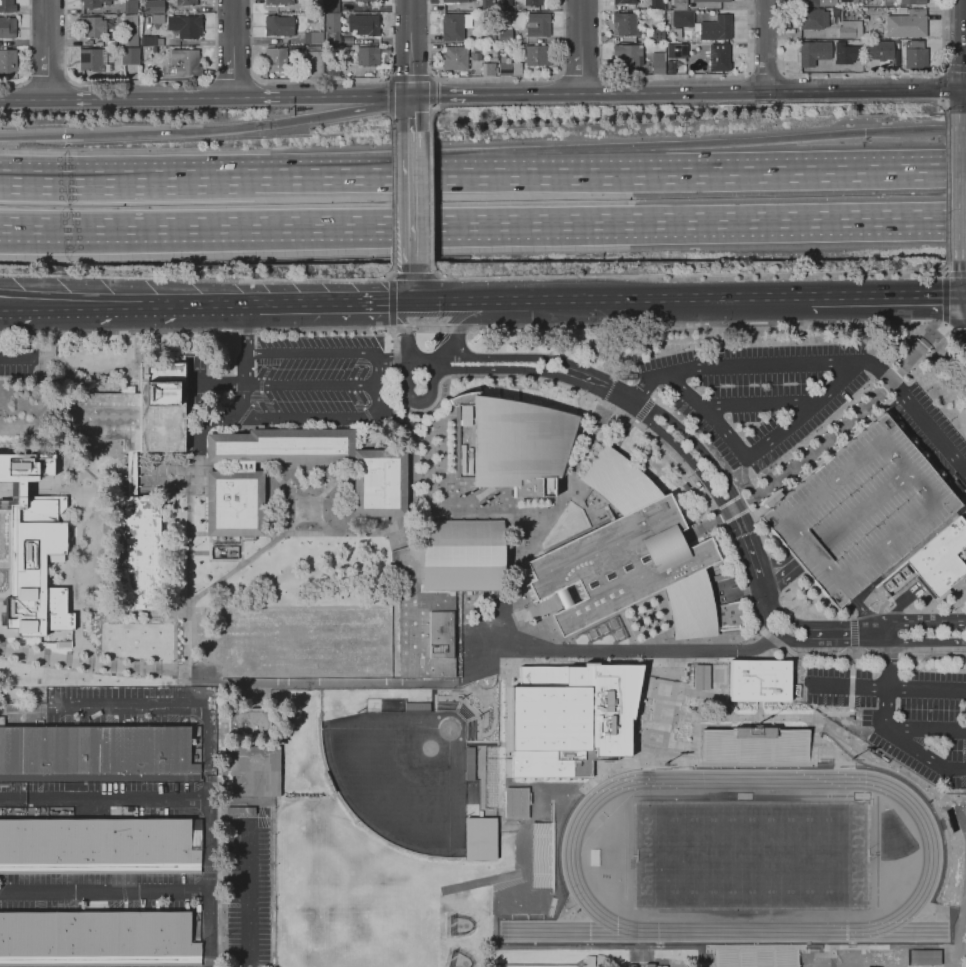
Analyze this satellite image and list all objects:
building: (368, 0)
building: (364, 1)
building: (455, 1)
building: (711, 1)
building: (186, 2)
building: (279, 2)
building: (534, 2)
building: (624, 2)
building: (856, 2)
building: (913, 2)
building: (91, 3)
building: (808, 3)
building: (679, 4)
building: (487, 5)
building: (505, 5)
building: (657, 5)
building: (7, 6)
building: (131, 6)
building: (153, 6)
building: (332, 6)
building: (873, 12)
building: (157, 18)
building: (311, 18)
building: (865, 18)
building: (813, 19)
building: (364, 24)
building: (538, 24)
building: (625, 24)
building: (907, 24)
building: (186, 25)
building: (279, 25)
building: (705, 25)
building: (92, 26)
building: (455, 26)
building: (7, 27)
building: (333, 27)
building: (131, 29)
building: (850, 29)
building: (677, 33)
building: (658, 35)
building: (492, 36)
building: (505, 36)
building: (314, 37)
building: (151, 40)
road: (765, 45)
road: (581, 46)
road: (232, 47)
building: (316, 47)
road: (410, 48)
road: (46, 49)
building: (153, 49)
building: (877, 49)
building: (677, 50)
building: (694, 50)
building: (814, 52)
road: (29, 53)
building: (629, 54)
building: (916, 54)
building: (130, 55)
building: (494, 55)
building: (537, 55)
building: (368, 56)
building: (719, 57)
building: (455, 58)
building: (276, 59)
building: (8, 60)
building: (94, 60)
building: (187, 62)
building: (658, 62)
building: (314, 63)
building: (488, 68)
building: (510, 68)
building: (333, 69)
building: (632, 69)
road: (765, 69)
road: (954, 70)
road: (581, 72)
road: (862, 74)
road: (48, 75)
road: (674, 75)
road: (234, 76)
road: (409, 78)
road: (493, 79)
road: (322, 80)
road: (140, 82)
road: (941, 84)
road: (430, 91)
road: (773, 91)
traffic signals: (965, 91)
road: (495, 94)
road: (228, 95)
traffic signals: (409, 96)
road: (390, 97)
road: (24, 99)
road: (965, 101)
road: (945, 105)
road: (409, 113)
road: (428, 116)
road: (392, 121)
road: (206, 132)
traffic signals: (865, 132)
traffic signals: (65, 134)
road: (791, 139)
road: (796, 173)
road: (582, 175)
road: (386, 178)
road: (118, 182)
road: (946, 186)
road: (429, 196)
road: (392, 197)
road: (410, 197)
road: (552, 221)
road: (68, 224)
road: (944, 272)
road: (389, 274)
road: (413, 274)
road: (437, 274)
road: (956, 274)
road: (689, 275)
road: (319, 279)
road: (412, 280)
road: (887, 297)
road: (946, 298)
road: (394, 299)
traffic signals: (413, 299)
road: (453, 299)
road: (510, 299)
road: (668, 299)
road: (325, 300)
road: (351, 300)
road: (369, 300)
road: (390, 300)
road: (8, 301)
road: (278, 301)
road: (193, 302)
road: (78, 304)
road: (8, 305)
road: (945, 324)
road: (493, 326)
road: (246, 327)
road: (391, 327)
road: (953, 329)
road: (961, 329)
road: (314, 352)
road: (14, 356)
road: (419, 358)
road: (393, 359)
road: (135, 362)
parking lot: (17, 363)
road: (821, 364)
road: (498, 369)
road: (246, 370)
road: (80, 372)
road: (379, 373)
parking lot: (315, 374)
road: (532, 378)
road: (313, 386)
road: (598, 390)
road: (426, 399)
parking lot: (789, 399)
road: (634, 400)
building: (162, 405)
road: (755, 407)
building: (105, 416)
road: (313, 420)
road: (692, 442)
building: (510, 444)
road: (445, 448)
road: (755, 451)
road: (686, 457)
road: (427, 458)
building: (25, 463)
road: (254, 467)
building: (131, 473)
building: (235, 478)
road: (568, 484)
road: (20, 487)
building: (859, 510)
parking lot: (859, 510)
road: (481, 516)
road: (718, 517)
road: (321, 520)
road: (188, 531)
road: (340, 532)
road: (72, 536)
road: (268, 537)
building: (136, 550)
road: (743, 553)
building: (627, 560)
building: (940, 560)
building: (38, 570)
road: (783, 572)
building: (723, 575)
road: (761, 584)
building: (443, 588)
road: (862, 608)
road: (954, 620)
road: (907, 621)
road: (768, 624)
road: (768, 635)
road: (845, 641)
road: (926, 641)
building: (266, 643)
road: (633, 651)
road: (890, 656)
road: (932, 656)
road: (87, 658)
road: (887, 673)
building: (701, 677)
building: (759, 680)
road: (887, 687)
road: (128, 706)
parking lot: (904, 715)
building: (569, 718)
building: (249, 723)
building: (754, 732)
road: (922, 756)
building: (194, 769)
park: (408, 769)
building: (253, 770)
road: (208, 780)
road: (104, 800)
building: (514, 802)
building: (129, 811)
building: (52, 812)
building: (64, 812)
building: (68, 816)
building: (479, 838)
building: (100, 845)
park: (753, 854)
track: (931, 855)
road: (103, 894)
road: (248, 896)
road: (208, 930)
park: (378, 938)
building: (97, 939)
building: (753, 955)
building: (923, 956)

